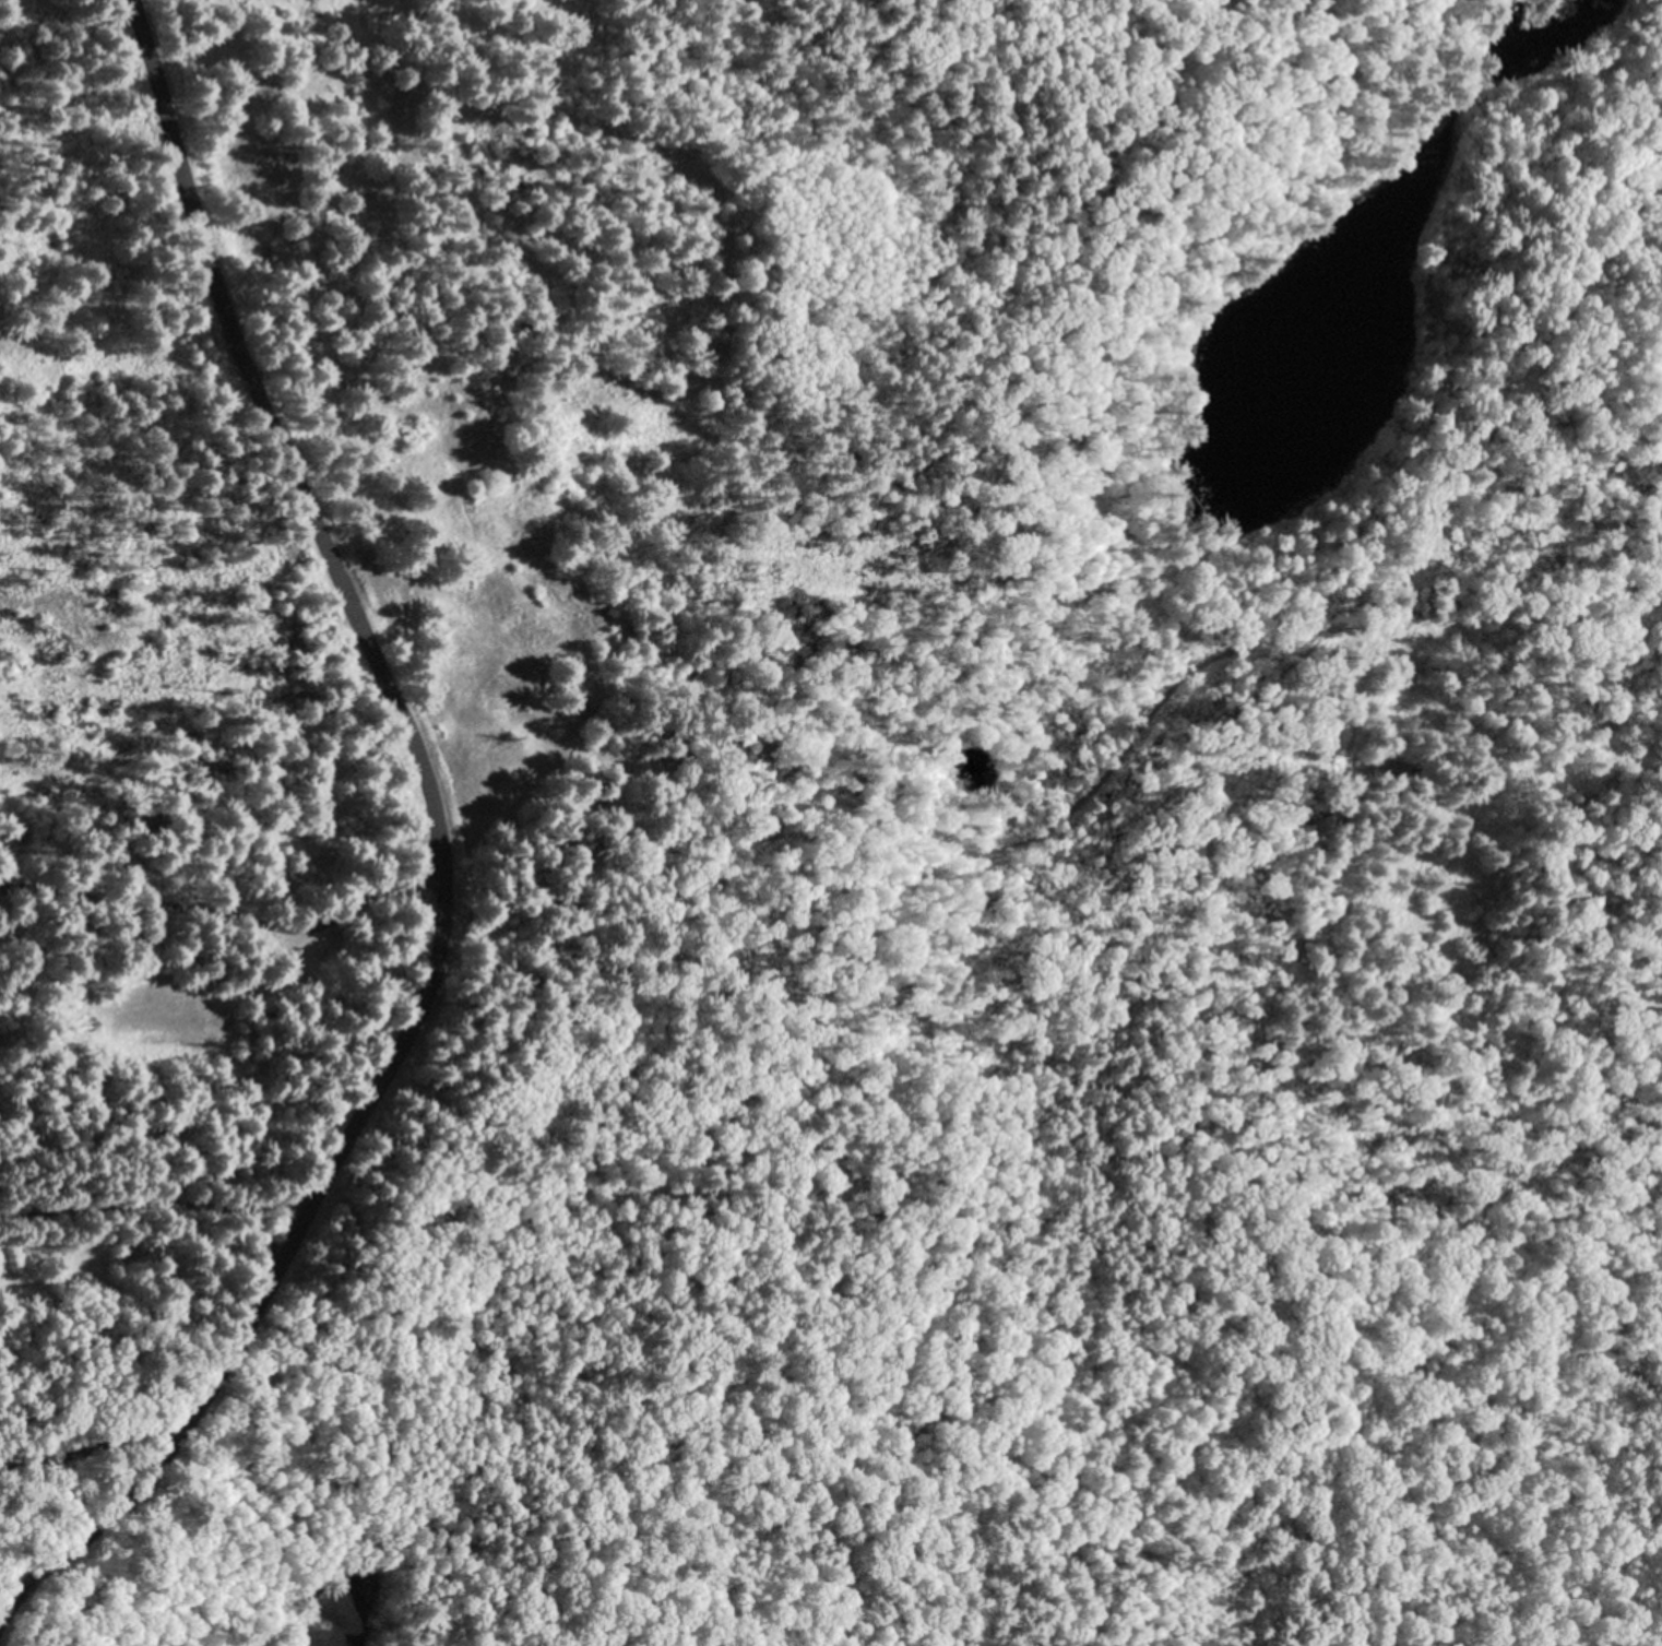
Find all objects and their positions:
quarry: (1646, 182)
road: (444, 860)
road: (221, 912)
road: (167, 1184)

